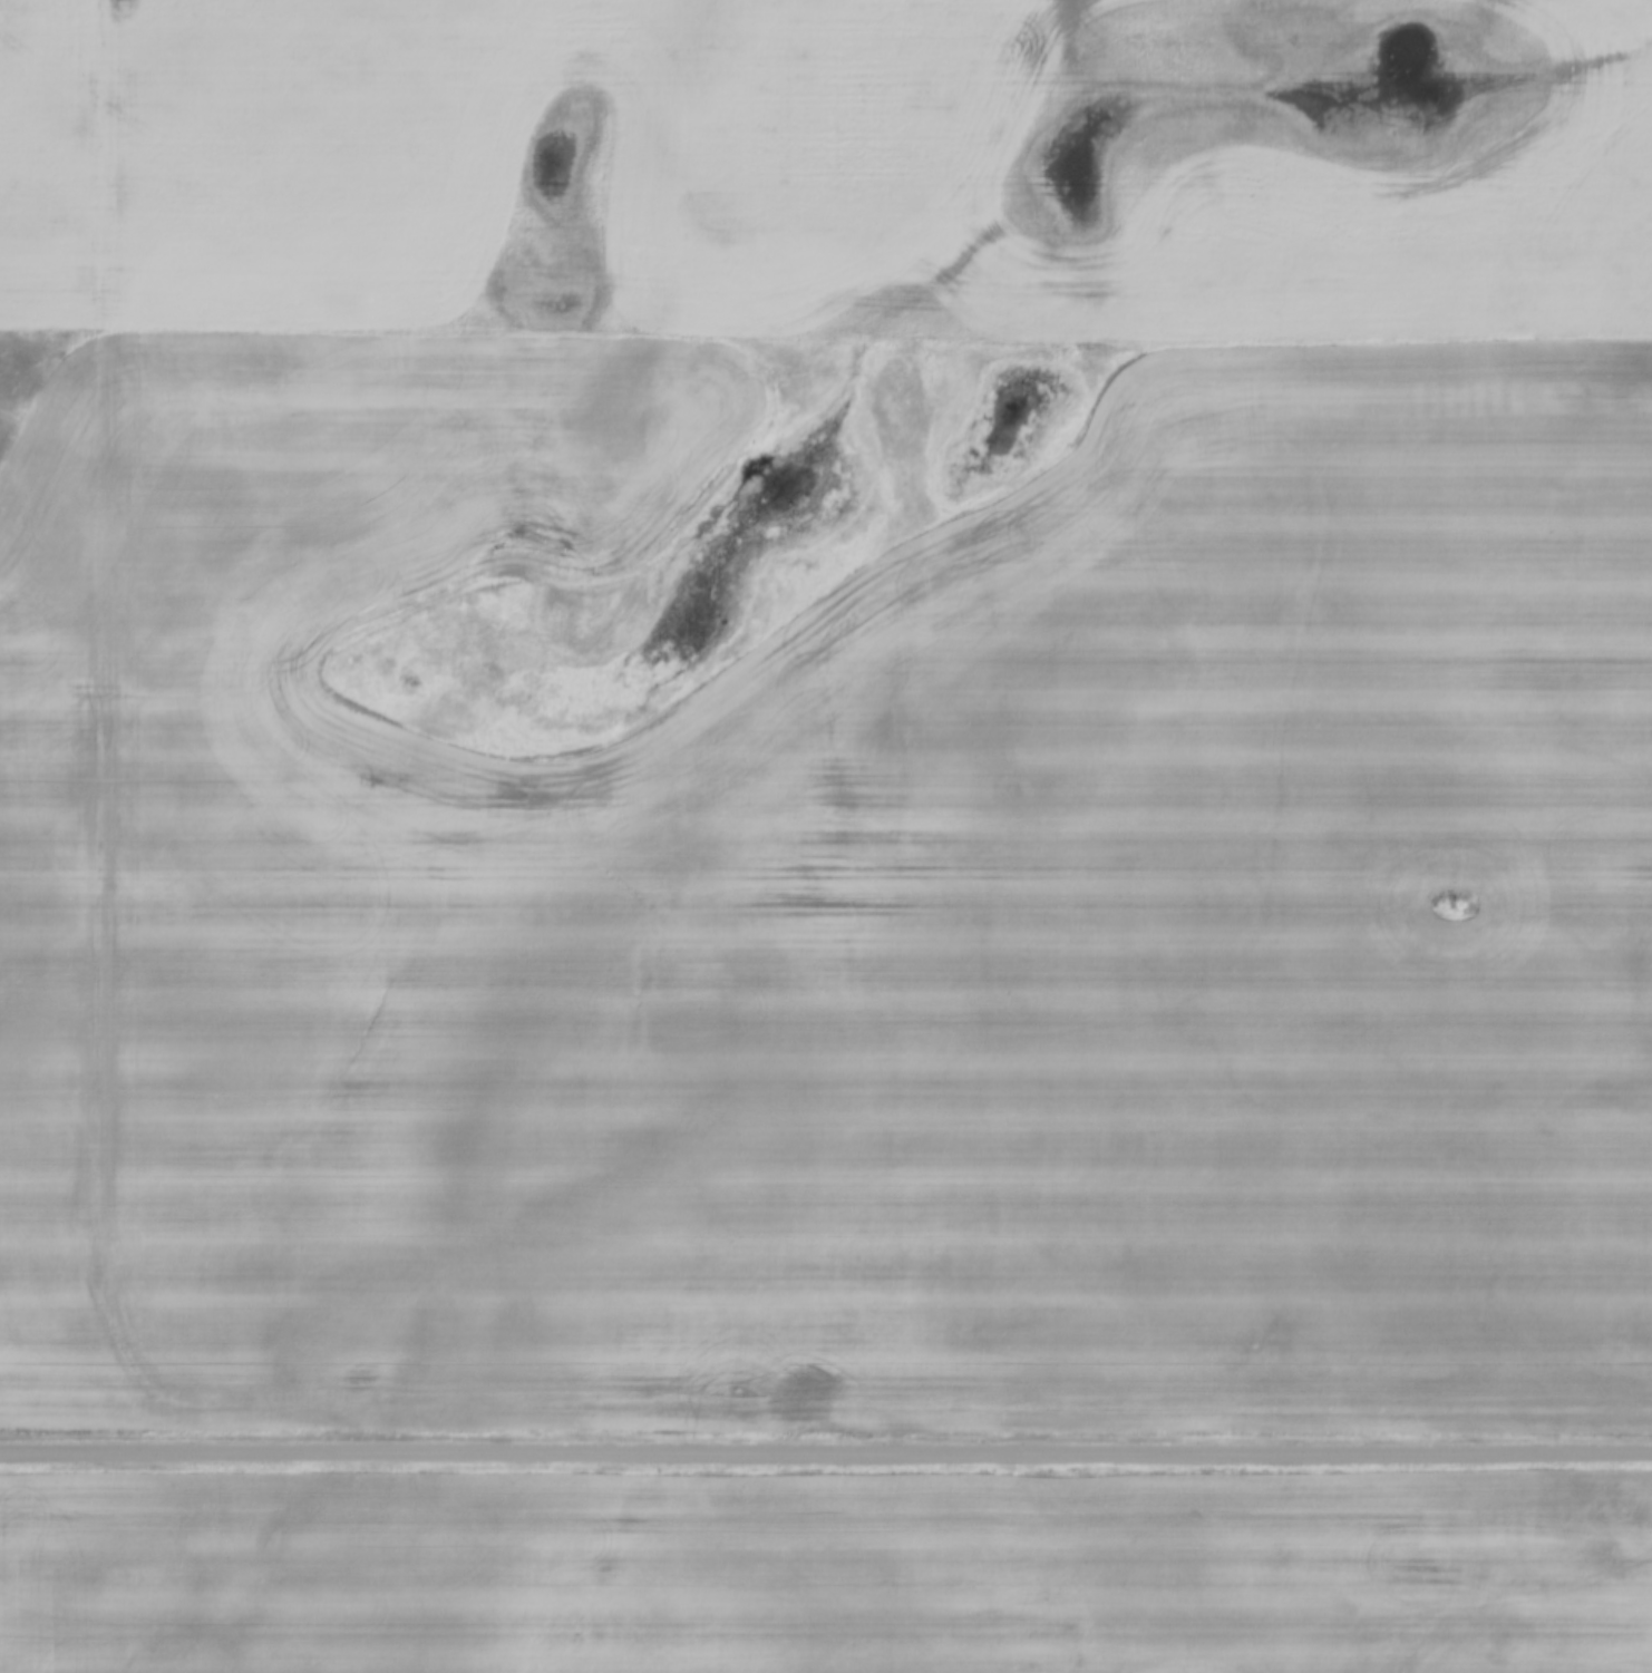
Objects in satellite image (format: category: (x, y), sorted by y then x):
road: (826, 1449)

